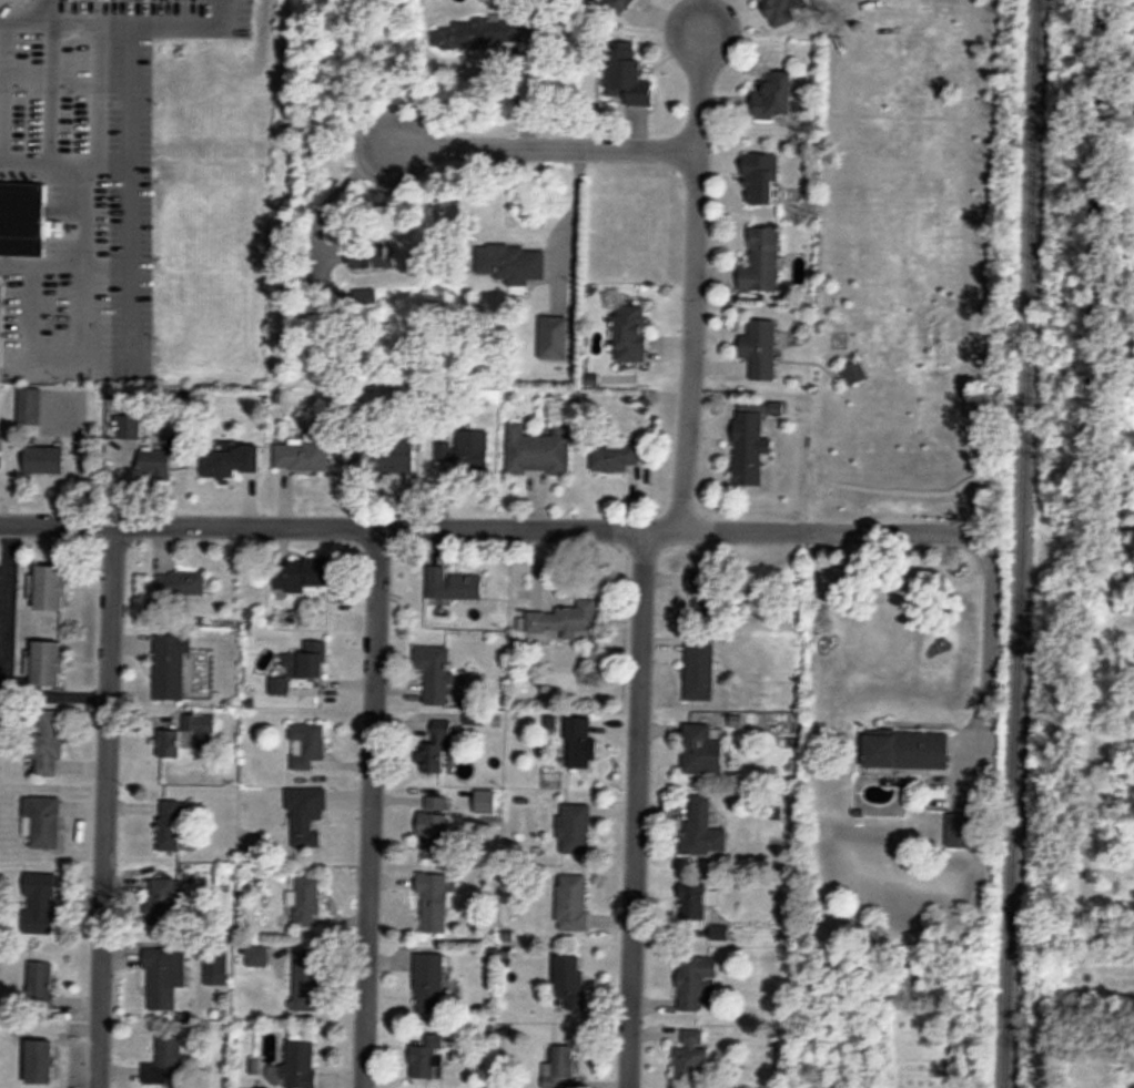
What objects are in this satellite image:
building: (17, 0)
building: (620, 4)
building: (783, 9)
building: (468, 35)
building: (629, 75)
building: (778, 94)
road: (537, 148)
building: (761, 179)
road: (87, 211)
building: (22, 218)
building: (762, 261)
building: (518, 265)
road: (690, 273)
building: (631, 334)
building: (554, 338)
building: (760, 349)
building: (29, 406)
building: (130, 427)
building: (750, 449)
building: (473, 450)
building: (445, 451)
building: (538, 451)
building: (302, 457)
building: (389, 458)
building: (615, 459)
building: (45, 460)
building: (231, 460)
building: (155, 464)
road: (466, 523)
railway: (1017, 543)
building: (303, 576)
road: (991, 576)
building: (181, 583)
building: (52, 588)
building: (467, 588)
building: (706, 596)
building: (566, 620)
building: (26, 624)
building: (313, 659)
building: (49, 663)
building: (171, 667)
building: (437, 670)
building: (699, 673)
building: (204, 732)
building: (45, 743)
building: (170, 743)
building: (579, 743)
building: (307, 745)
building: (908, 750)
building: (435, 751)
building: (702, 751)
road: (107, 805)
road: (371, 805)
road: (635, 806)
building: (306, 815)
building: (42, 822)
building: (172, 824)
building: (434, 824)
building: (703, 827)
building: (575, 828)
building: (960, 833)
building: (693, 901)
building: (162, 902)
building: (434, 902)
building: (573, 902)
building: (305, 903)
building: (40, 904)
building: (216, 966)
building: (163, 977)
building: (695, 980)
building: (428, 983)
building: (570, 984)
building: (41, 985)
building: (303, 986)
building: (691, 1056)
building: (427, 1059)
building: (164, 1061)
building: (41, 1062)
building: (300, 1065)
building: (560, 1068)

